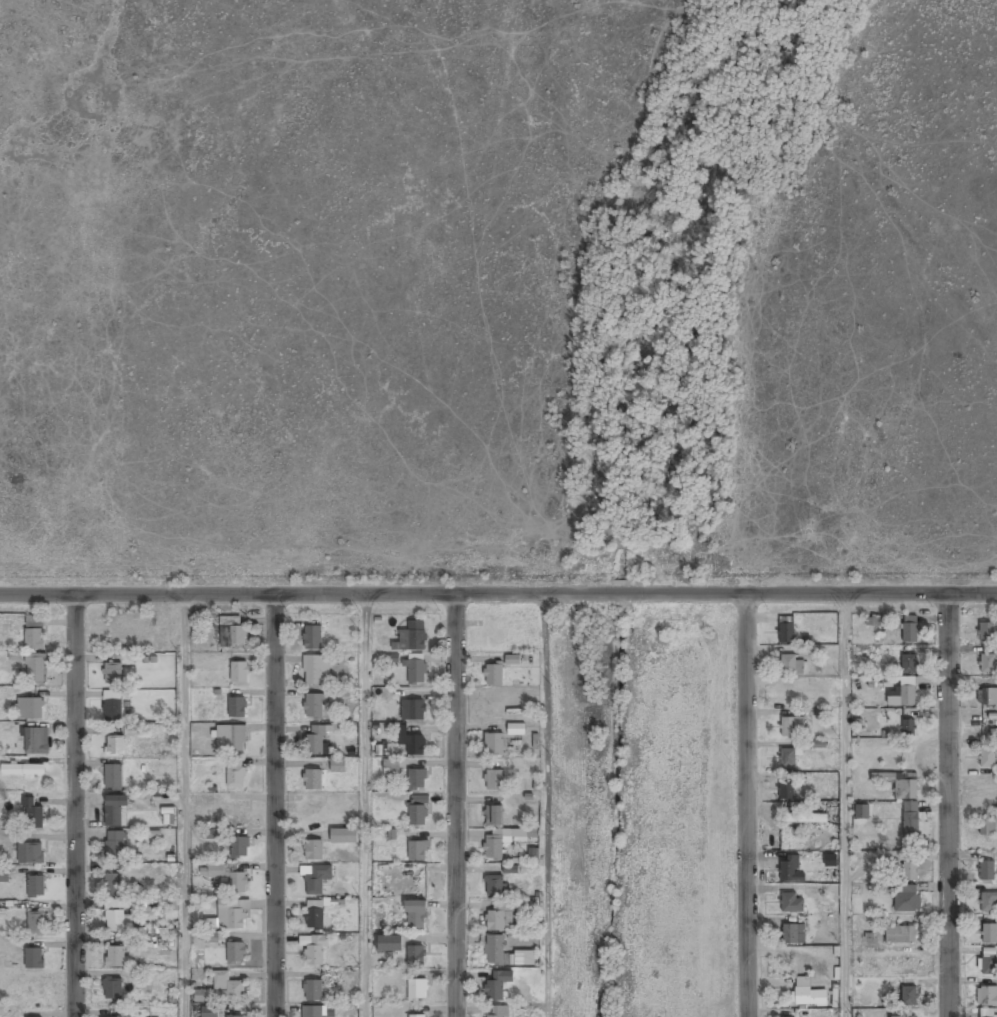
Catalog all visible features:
road: (373, 594)
road: (871, 594)
building: (34, 620)
building: (909, 629)
building: (785, 630)
building: (232, 631)
building: (986, 633)
building: (411, 637)
building: (312, 638)
building: (34, 639)
building: (791, 665)
building: (909, 665)
building: (987, 665)
building: (36, 670)
building: (317, 670)
building: (416, 671)
building: (239, 672)
building: (112, 673)
building: (492, 675)
building: (341, 691)
building: (903, 697)
building: (987, 697)
building: (313, 707)
building: (29, 708)
building: (237, 708)
building: (113, 710)
building: (413, 710)
building: (792, 727)
building: (908, 727)
building: (516, 729)
building: (230, 740)
building: (315, 740)
building: (33, 741)
building: (411, 743)
building: (494, 743)
building: (115, 746)
building: (787, 758)
building: (987, 758)
building: (338, 766)
building: (391, 768)
building: (23, 770)
building: (235, 773)
building: (113, 778)
building: (493, 779)
building: (416, 780)
building: (312, 781)
building: (899, 783)
building: (786, 790)
road: (453, 805)
road: (948, 805)
road: (74, 806)
road: (185, 806)
road: (273, 806)
road: (366, 806)
road: (545, 806)
road: (746, 806)
road: (845, 806)
building: (417, 811)
building: (861, 811)
building: (115, 812)
building: (32, 814)
building: (493, 814)
building: (807, 818)
building: (911, 821)
building: (986, 827)
building: (215, 833)
building: (343, 837)
building: (115, 846)
building: (239, 848)
building: (493, 850)
building: (313, 851)
building: (417, 851)
building: (30, 852)
building: (510, 869)
building: (790, 869)
building: (910, 871)
building: (985, 871)
building: (3, 876)
building: (228, 878)
building: (315, 879)
building: (113, 883)
building: (36, 886)
building: (493, 886)
building: (906, 900)
building: (989, 902)
building: (120, 904)
building: (789, 904)
building: (415, 915)
building: (229, 916)
building: (499, 917)
building: (314, 919)
building: (36, 921)
building: (116, 921)
building: (792, 934)
building: (989, 934)
building: (900, 935)
building: (211, 938)
building: (389, 944)
building: (314, 949)
building: (494, 950)
building: (235, 953)
building: (415, 956)
building: (116, 957)
building: (34, 959)
building: (988, 964)
building: (497, 986)
building: (112, 989)
building: (228, 989)
building: (416, 990)
building: (312, 991)
building: (807, 993)
building: (987, 996)
building: (909, 997)
building: (313, 1012)
building: (498, 1012)
building: (206, 1013)
building: (988, 1013)
building: (904, 1015)
building: (234, 1016)
building: (417, 1016)

